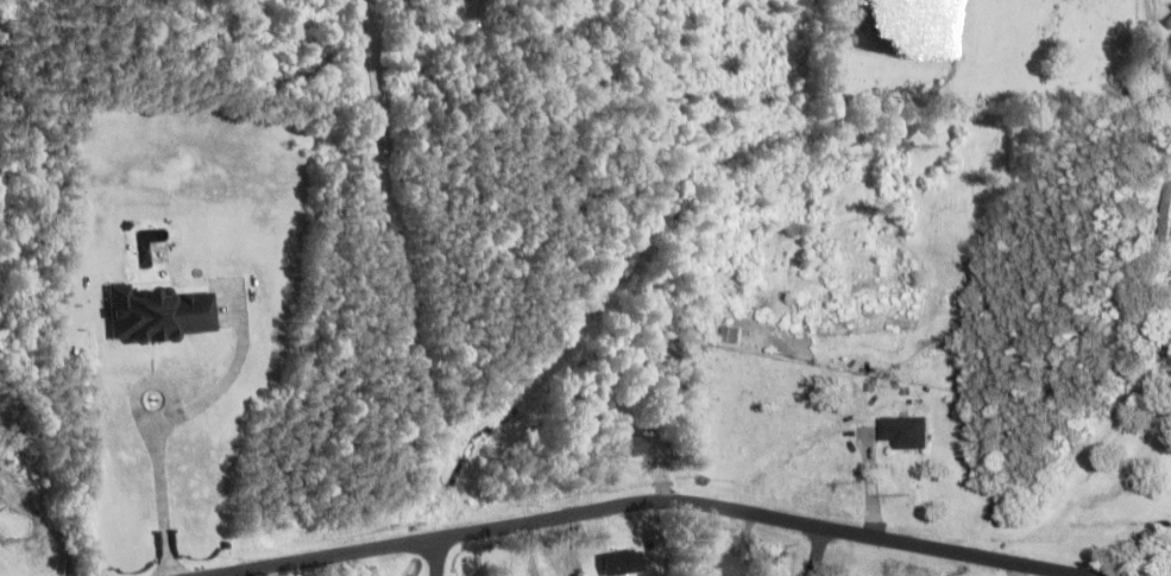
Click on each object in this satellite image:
road: (1148, 39)
building: (1164, 219)
building: (158, 316)
building: (629, 449)
road: (650, 505)
road: (813, 553)
road: (440, 558)
building: (623, 565)
building: (722, 566)

